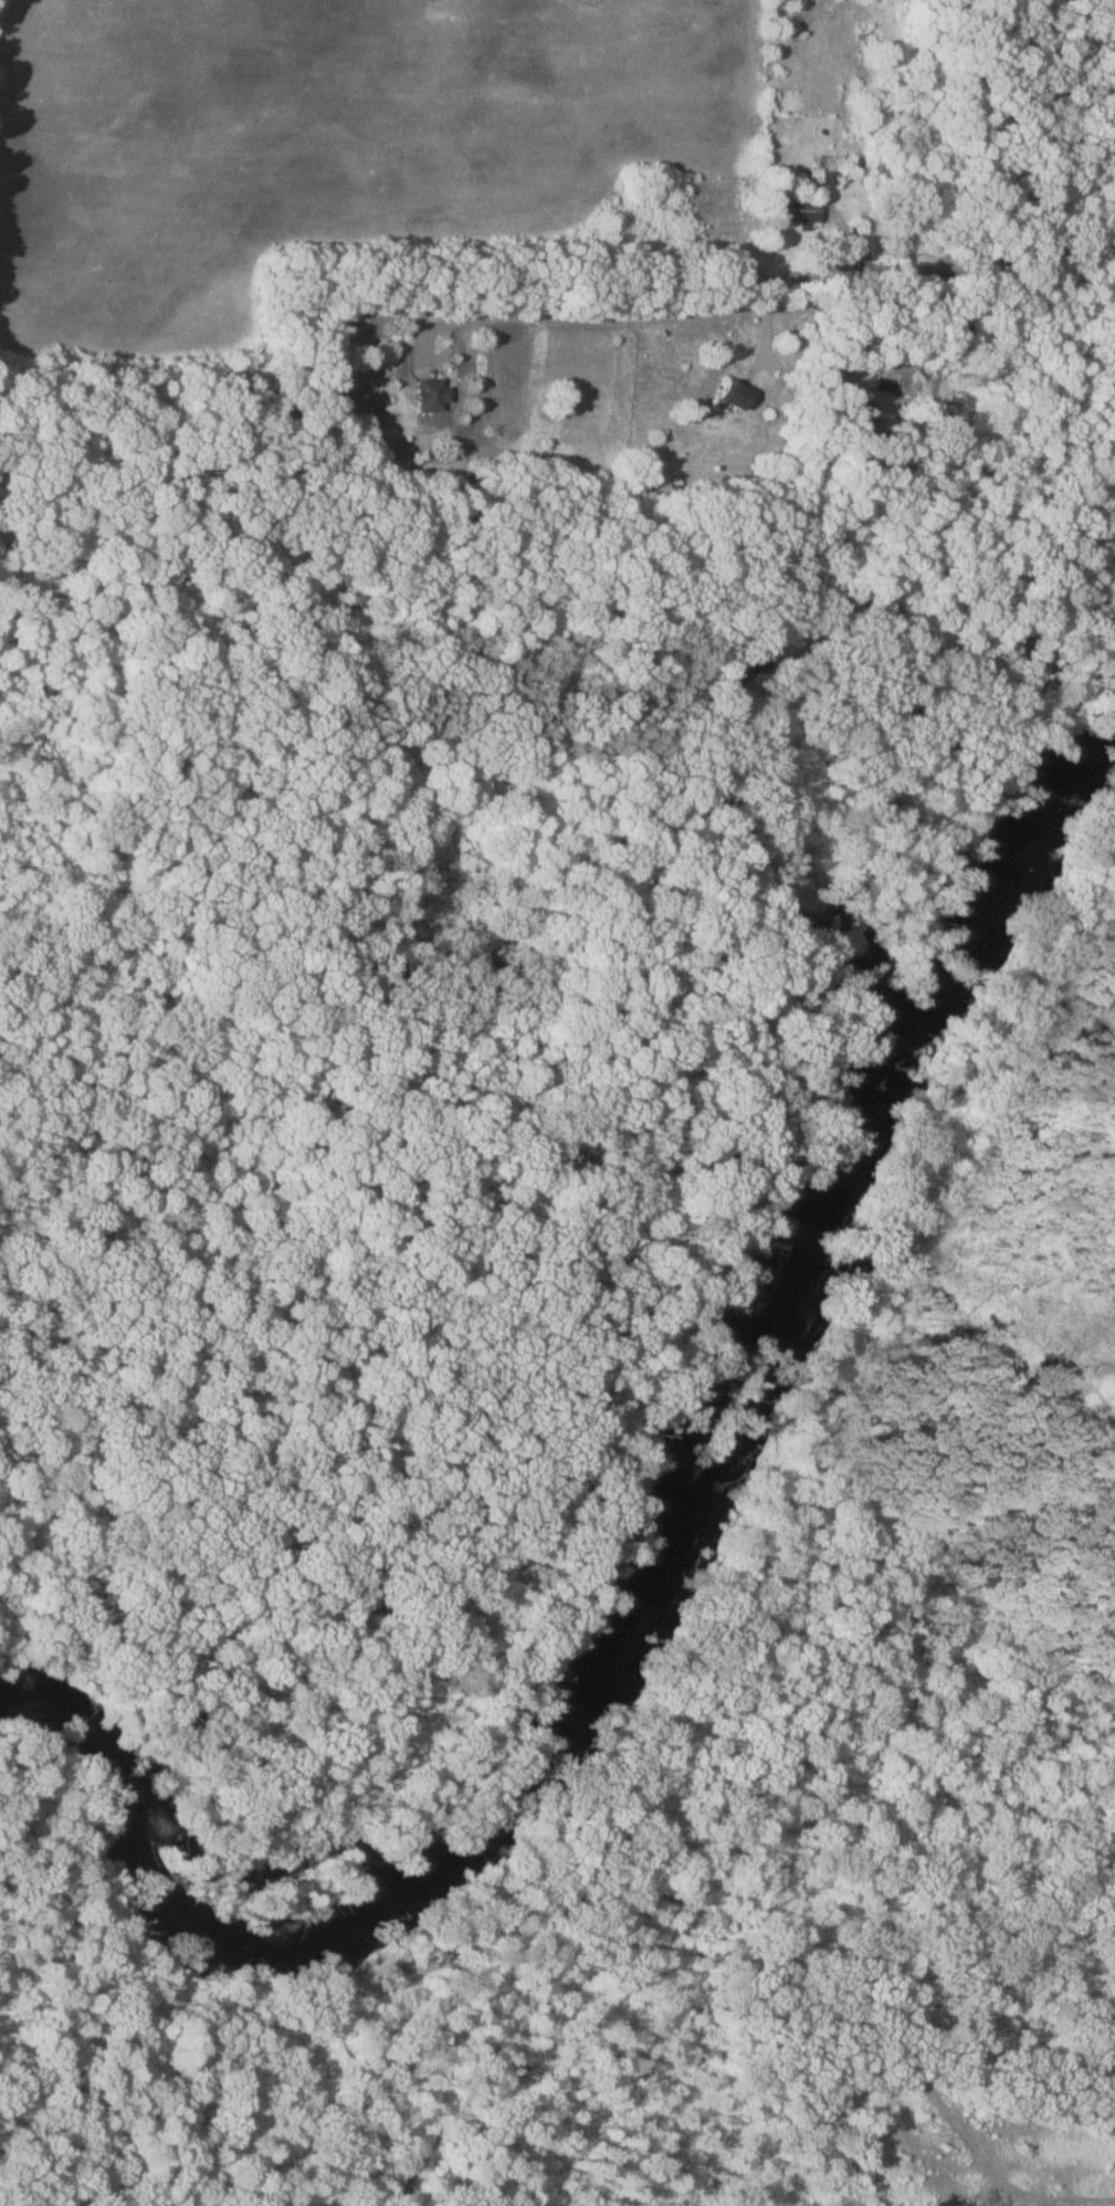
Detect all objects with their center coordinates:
road: (924, 255)
road: (611, 316)
road: (903, 317)
road: (769, 323)
river: (662, 1575)

